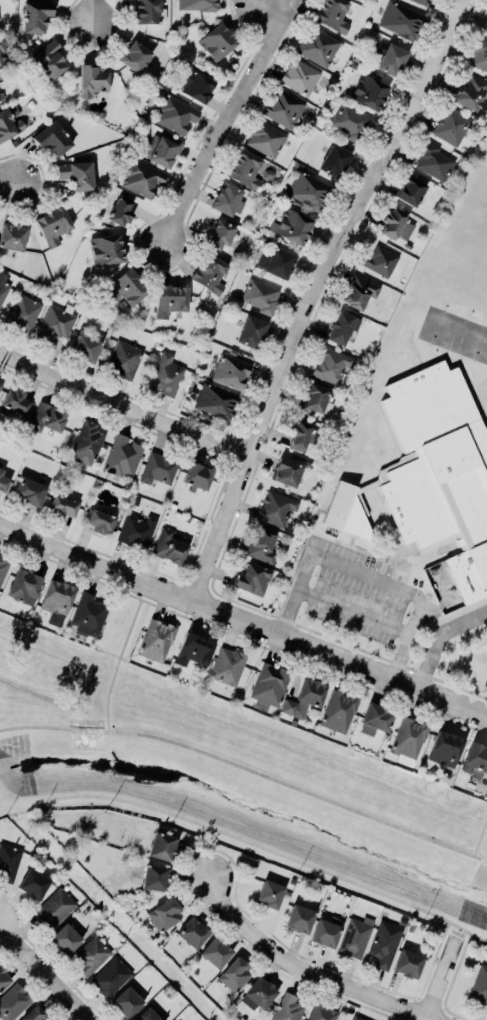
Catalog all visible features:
building: (422, 1)
building: (197, 5)
road: (270, 9)
road: (93, 10)
building: (146, 11)
building: (333, 15)
building: (36, 16)
building: (401, 20)
building: (486, 29)
building: (217, 41)
building: (4, 45)
building: (319, 47)
building: (135, 56)
building: (480, 56)
building: (50, 59)
building: (392, 59)
building: (300, 76)
building: (93, 79)
building: (196, 85)
building: (369, 92)
building: (470, 92)
building: (1, 97)
building: (284, 108)
building: (176, 114)
road: (225, 120)
building: (350, 121)
building: (10, 122)
building: (451, 126)
building: (52, 138)
building: (266, 139)
building: (162, 149)
building: (335, 160)
building: (434, 162)
building: (245, 169)
building: (77, 174)
building: (142, 178)
road: (8, 182)
building: (308, 189)
building: (411, 191)
building: (227, 199)
building: (122, 208)
building: (396, 224)
building: (54, 225)
building: (292, 226)
building: (220, 234)
building: (13, 236)
building: (107, 249)
building: (380, 261)
building: (276, 262)
building: (210, 273)
building: (3, 286)
building: (128, 286)
building: (360, 291)
building: (260, 295)
road: (318, 295)
building: (170, 300)
building: (23, 313)
building: (55, 323)
building: (342, 328)
building: (251, 331)
building: (86, 347)
building: (124, 359)
building: (331, 365)
building: (231, 371)
building: (166, 375)
building: (0, 383)
building: (316, 399)
building: (15, 401)
building: (216, 401)
road: (122, 407)
building: (48, 417)
building: (300, 435)
building: (87, 443)
building: (123, 456)
building: (158, 468)
building: (287, 471)
building: (431, 474)
building: (198, 477)
building: (3, 481)
building: (29, 491)
building: (63, 506)
building: (276, 508)
building: (101, 521)
building: (137, 530)
building: (261, 545)
building: (169, 547)
road: (332, 558)
building: (3, 567)
building: (252, 579)
building: (24, 586)
building: (58, 598)
road: (290, 610)
building: (89, 615)
road: (242, 618)
road: (441, 636)
building: (156, 640)
building: (194, 649)
road: (119, 656)
building: (228, 665)
building: (270, 685)
building: (304, 698)
building: (339, 711)
building: (376, 719)
building: (409, 741)
building: (446, 748)
building: (475, 760)
road: (245, 770)
river: (17, 773)
river: (264, 815)
road: (479, 838)
road: (249, 843)
building: (162, 846)
building: (9, 861)
building: (155, 877)
building: (34, 883)
building: (270, 893)
building: (54, 908)
building: (165, 914)
building: (299, 918)
building: (326, 931)
building: (193, 932)
building: (356, 936)
building: (65, 939)
building: (384, 944)
building: (216, 952)
building: (90, 955)
building: (408, 963)
road: (46, 972)
road: (307, 973)
building: (236, 974)
road: (442, 975)
building: (111, 976)
building: (4, 978)
building: (480, 985)
building: (258, 994)
building: (13, 1002)
building: (127, 1002)
building: (288, 1008)
building: (321, 1012)
building: (35, 1014)
road: (424, 1014)
building: (147, 1015)
building: (356, 1018)

